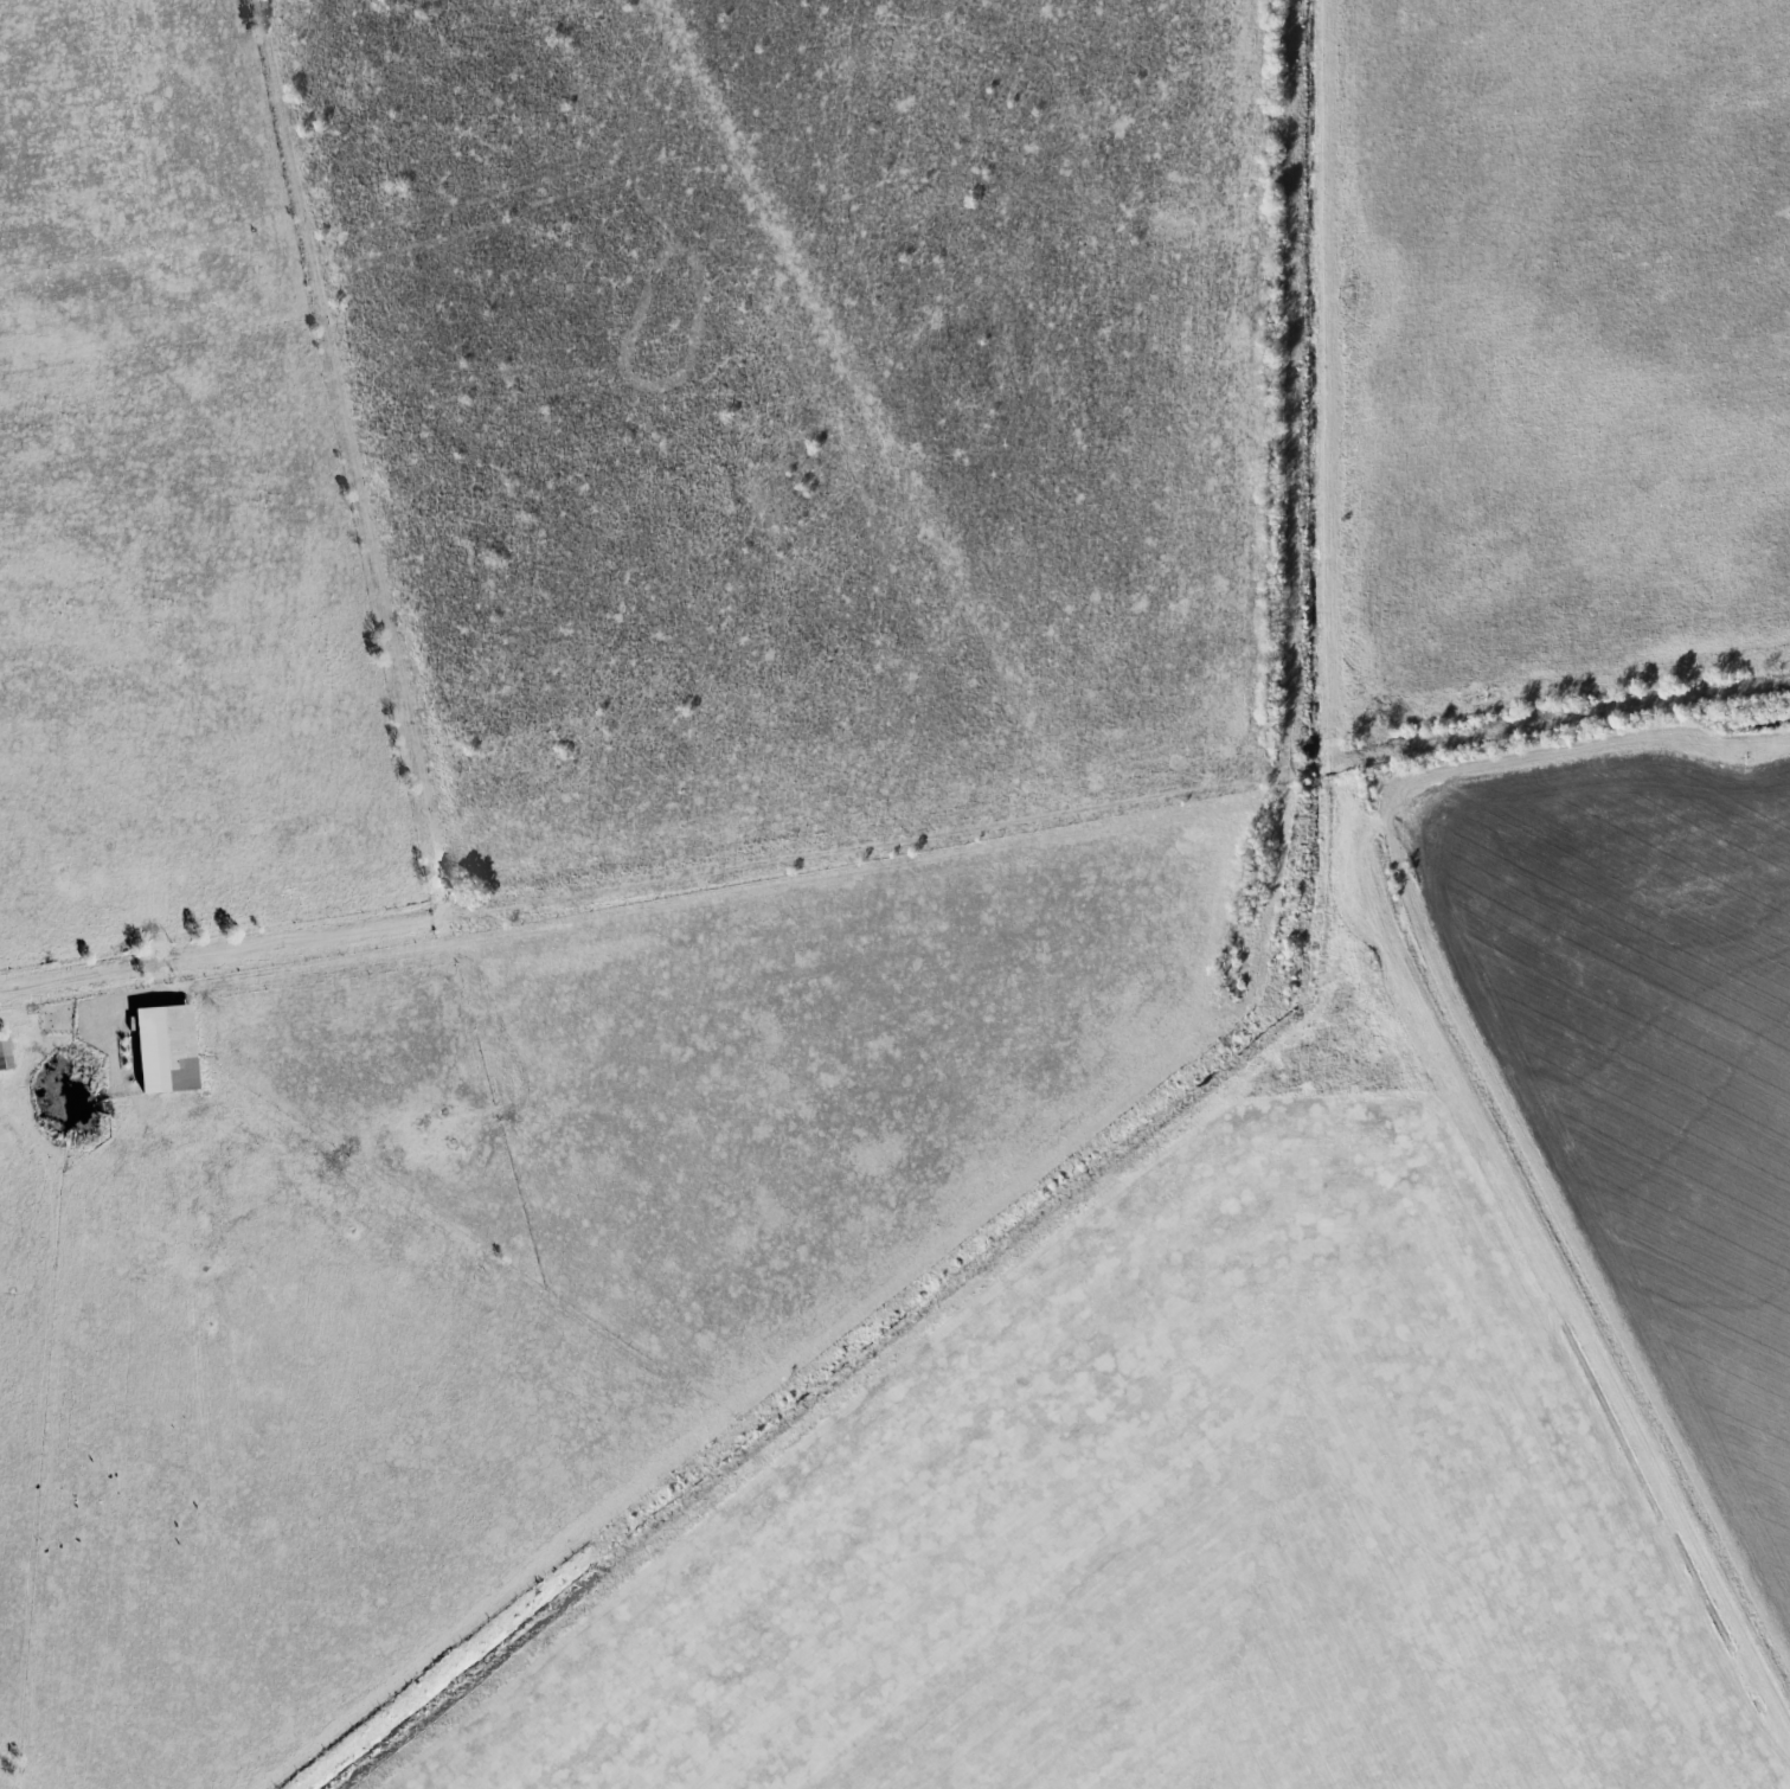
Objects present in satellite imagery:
road: (84, 980)
building: (160, 1049)

